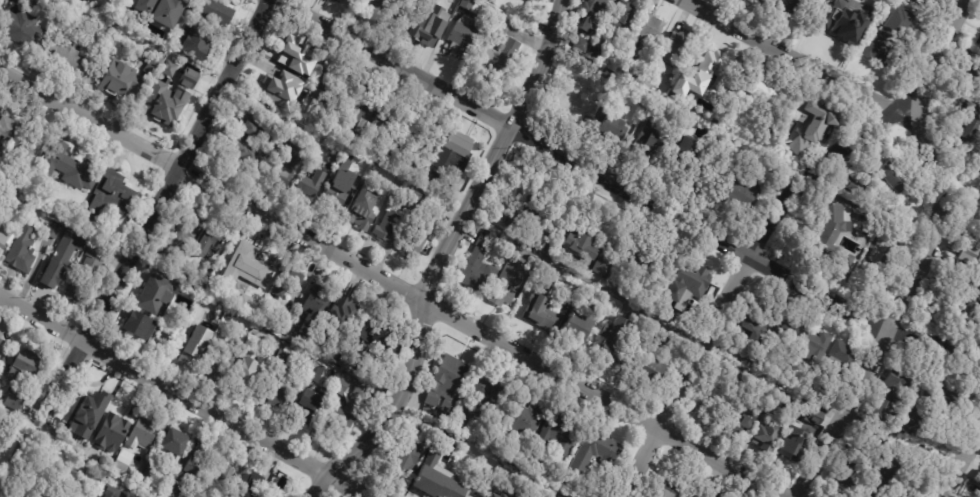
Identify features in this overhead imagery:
building: (88, 0)
building: (344, 0)
building: (529, 0)
building: (532, 0)
building: (746, 0)
building: (90, 1)
building: (757, 1)
building: (24, 2)
building: (921, 2)
building: (470, 4)
building: (146, 6)
building: (396, 6)
building: (792, 6)
building: (214, 9)
building: (171, 11)
building: (589, 15)
building: (619, 16)
building: (840, 17)
building: (435, 24)
building: (646, 27)
building: (23, 28)
building: (104, 32)
building: (887, 35)
building: (465, 36)
building: (201, 44)
building: (579, 44)
building: (979, 44)
building: (671, 53)
building: (173, 56)
road: (800, 56)
building: (65, 57)
building: (296, 58)
building: (501, 60)
building: (155, 61)
building: (698, 73)
building: (973, 73)
building: (606, 74)
building: (727, 74)
building: (121, 80)
building: (328, 87)
building: (280, 89)
building: (178, 94)
building: (762, 94)
building: (975, 95)
building: (357, 101)
building: (805, 119)
building: (390, 121)
building: (606, 123)
building: (966, 125)
building: (263, 127)
building: (10, 129)
building: (652, 138)
building: (424, 140)
building: (309, 143)
building: (35, 148)
building: (688, 148)
building: (382, 153)
building: (251, 156)
building: (458, 157)
building: (337, 160)
building: (959, 165)
building: (288, 166)
building: (71, 167)
building: (420, 173)
building: (871, 177)
building: (313, 183)
building: (22, 185)
road: (624, 188)
building: (341, 189)
building: (743, 192)
building: (113, 197)
building: (416, 199)
building: (394, 205)
building: (367, 211)
building: (434, 214)
building: (513, 217)
building: (538, 221)
building: (193, 224)
building: (387, 228)
building: (905, 228)
building: (54, 230)
building: (831, 236)
building: (2, 243)
building: (212, 243)
road: (135, 244)
building: (580, 244)
building: (414, 245)
building: (23, 250)
road: (933, 253)
building: (967, 254)
road: (447, 256)
building: (65, 257)
building: (978, 259)
building: (602, 265)
building: (474, 271)
building: (266, 272)
building: (549, 272)
building: (87, 273)
building: (203, 276)
building: (952, 278)
road: (737, 281)
building: (290, 282)
building: (505, 282)
road: (394, 284)
building: (680, 286)
building: (158, 297)
building: (940, 300)
building: (592, 306)
building: (259, 307)
building: (973, 308)
building: (318, 309)
building: (536, 313)
building: (342, 314)
building: (284, 320)
building: (747, 323)
building: (143, 326)
building: (573, 331)
building: (789, 331)
building: (374, 332)
building: (0, 337)
building: (611, 337)
building: (656, 338)
building: (278, 341)
building: (1, 342)
building: (813, 345)
building: (206, 354)
building: (836, 357)
building: (285, 359)
building: (348, 361)
building: (251, 364)
building: (642, 370)
building: (317, 372)
building: (20, 379)
building: (344, 389)
building: (284, 390)
building: (492, 390)
building: (445, 391)
road: (182, 397)
building: (745, 399)
building: (887, 399)
building: (939, 400)
building: (707, 407)
building: (315, 408)
building: (348, 412)
building: (91, 415)
building: (814, 416)
building: (908, 421)
building: (528, 423)
building: (410, 431)
building: (111, 434)
building: (762, 434)
building: (1, 435)
building: (143, 436)
building: (560, 437)
building: (793, 444)
building: (866, 445)
building: (173, 448)
building: (1, 449)
building: (411, 452)
building: (598, 452)
building: (920, 452)
building: (1, 456)
building: (198, 465)
road: (964, 466)
building: (222, 472)
building: (135, 473)
building: (842, 473)
building: (150, 474)
building: (97, 475)
building: (441, 477)
building: (893, 477)
building: (978, 479)
building: (564, 482)
building: (250, 486)
building: (671, 490)
building: (176, 491)
building: (140, 495)
building: (505, 495)
building: (268, 496)
building: (496, 496)
building: (685, 496)
building: (971, 496)

